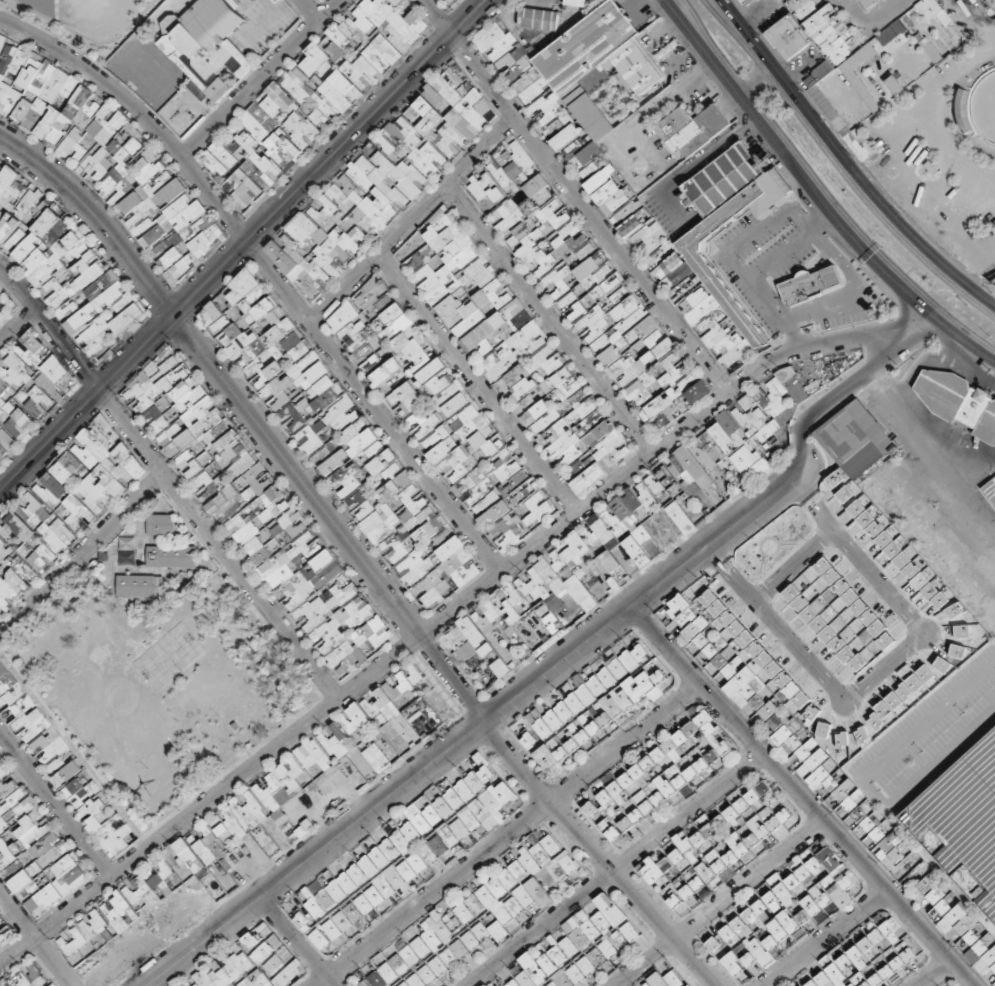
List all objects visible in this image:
park: (77, 19)

